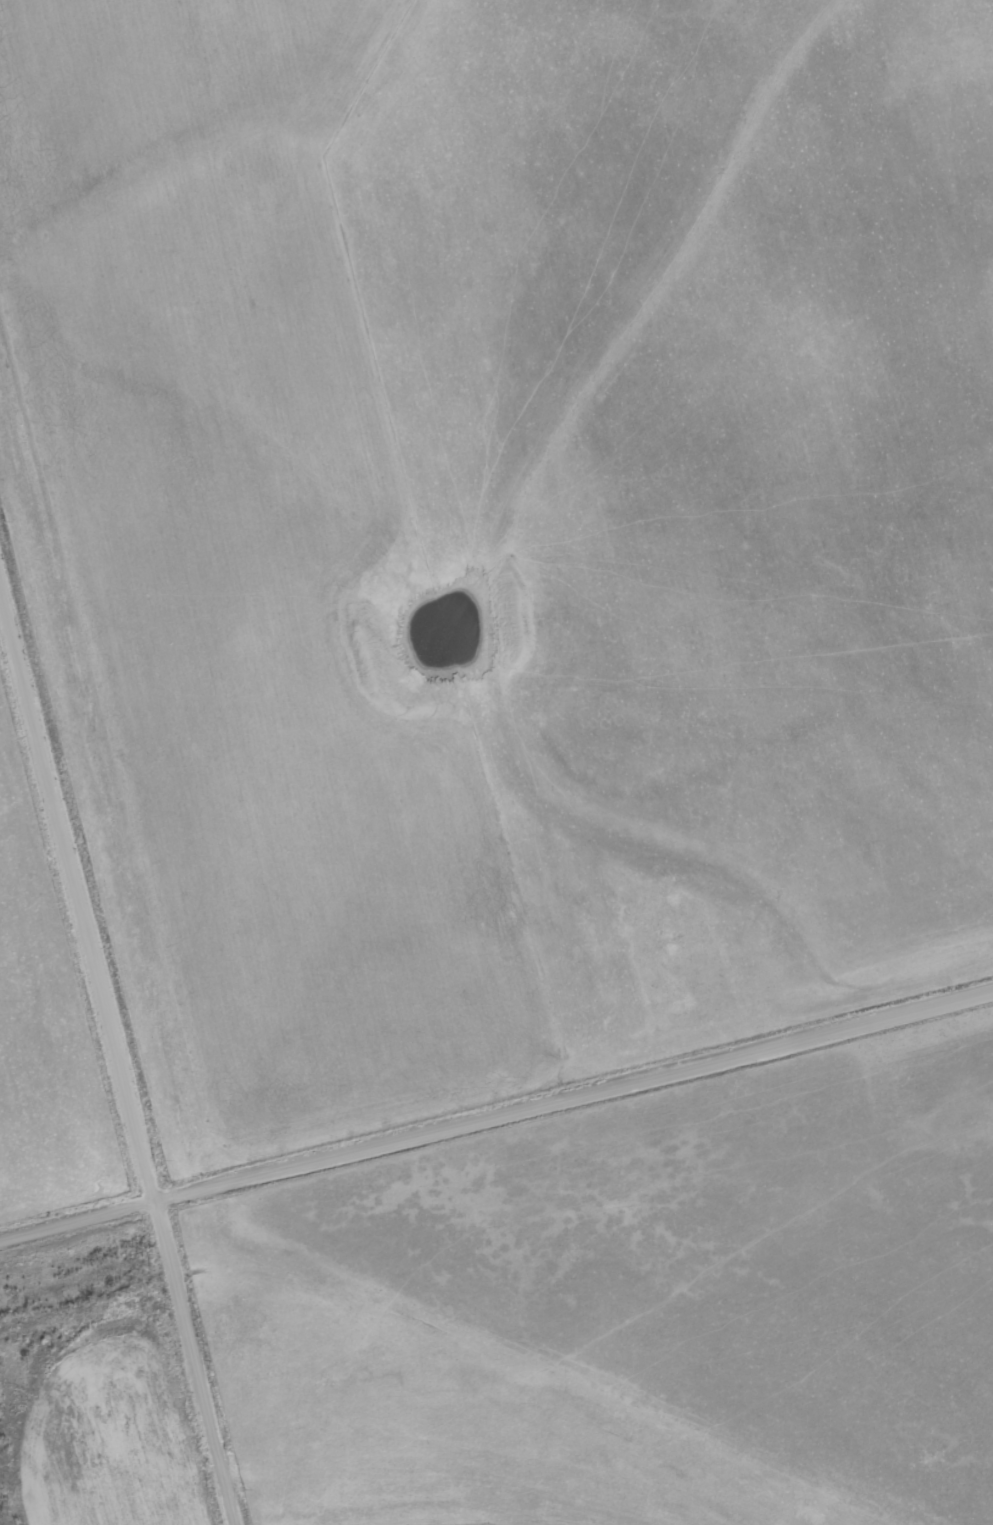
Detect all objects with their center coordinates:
road: (116, 1058)
road: (496, 1113)

